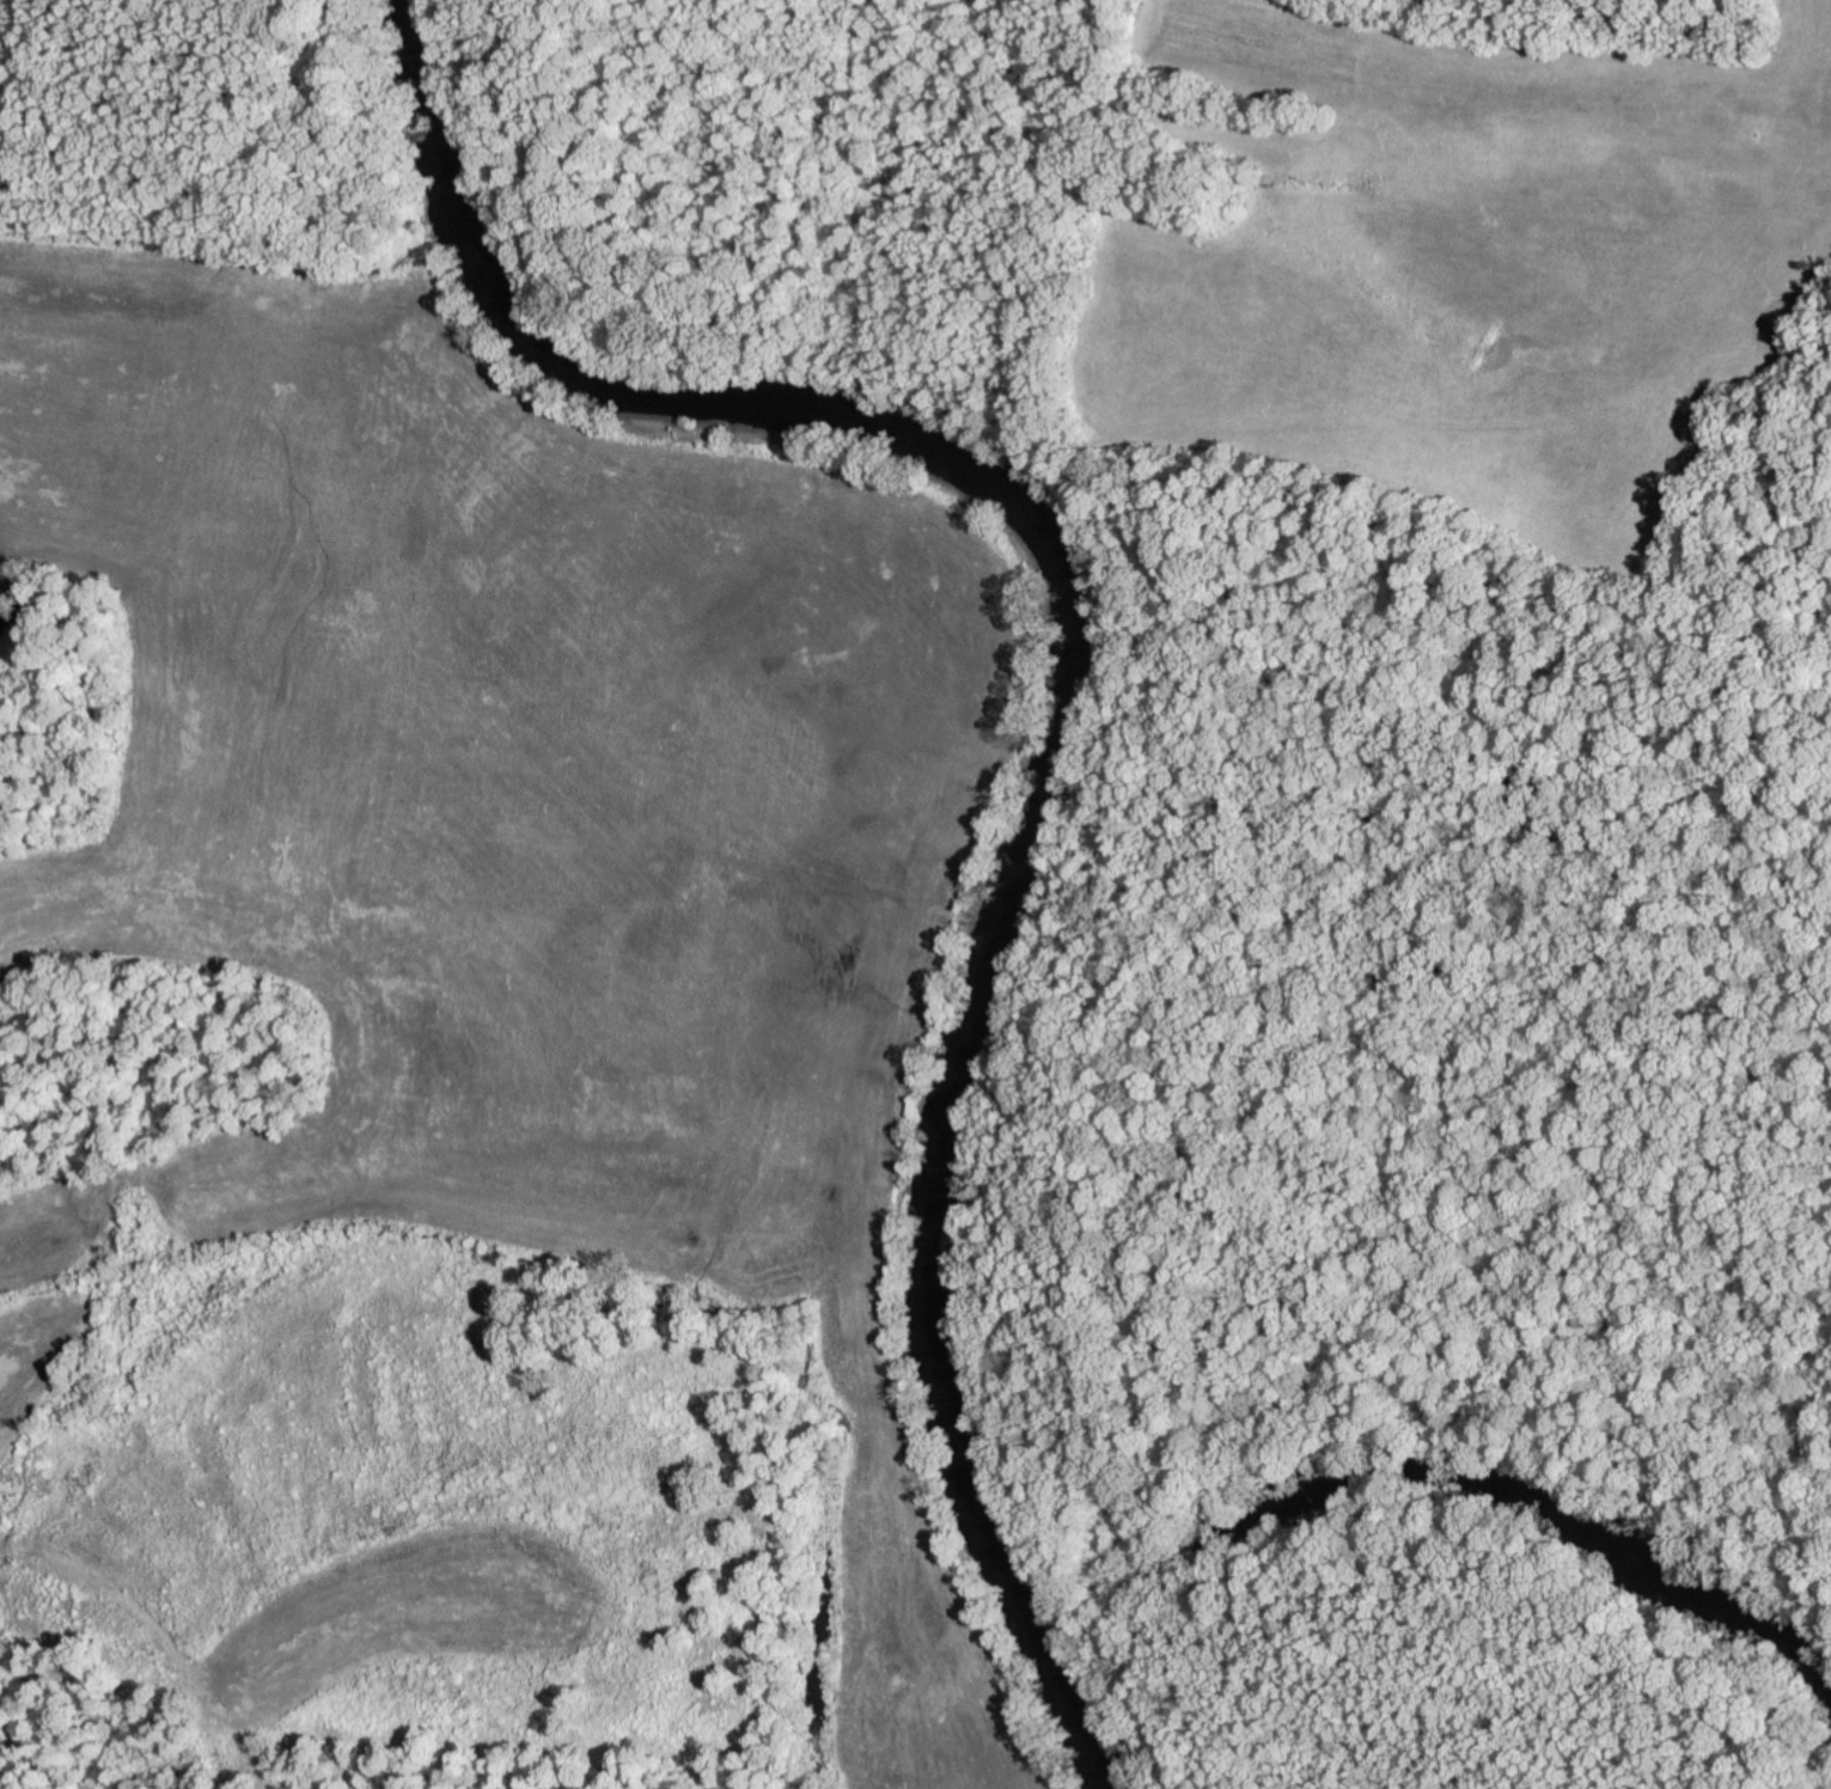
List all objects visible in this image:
river: (1064, 716)

